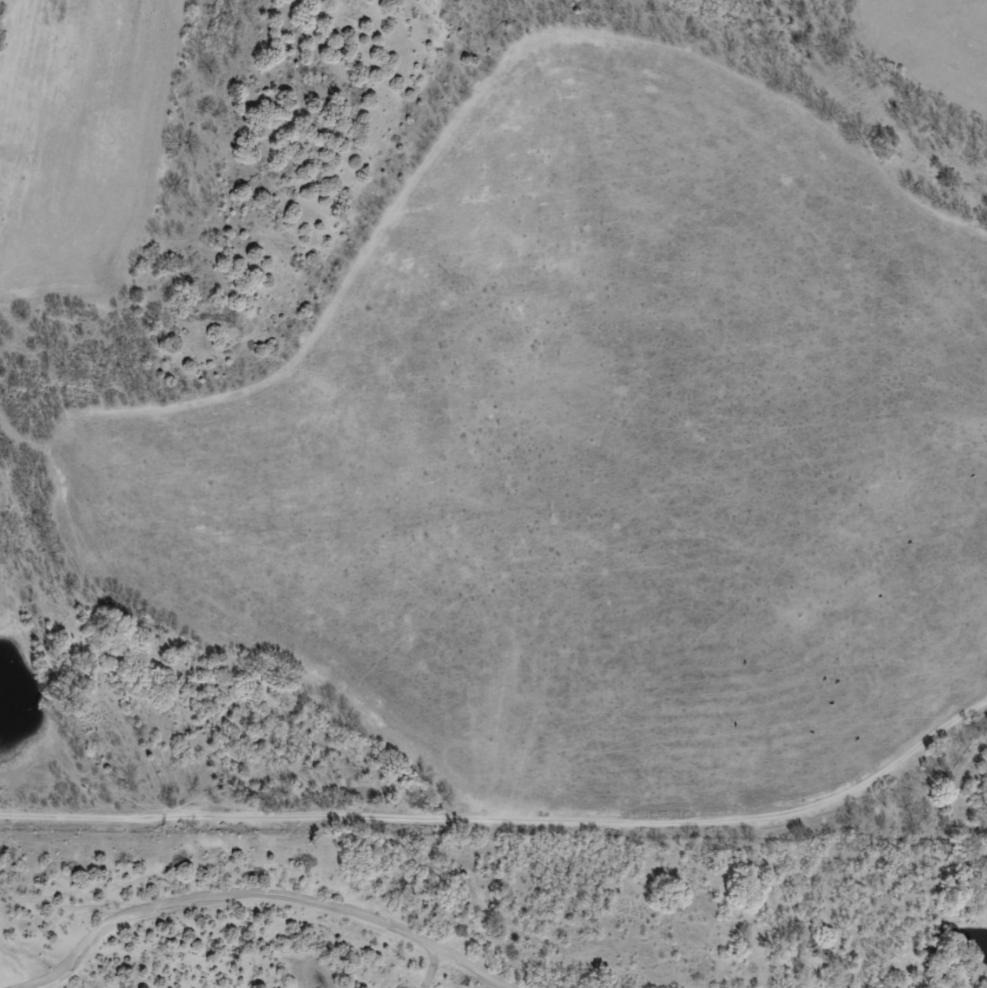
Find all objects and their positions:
road: (501, 815)

